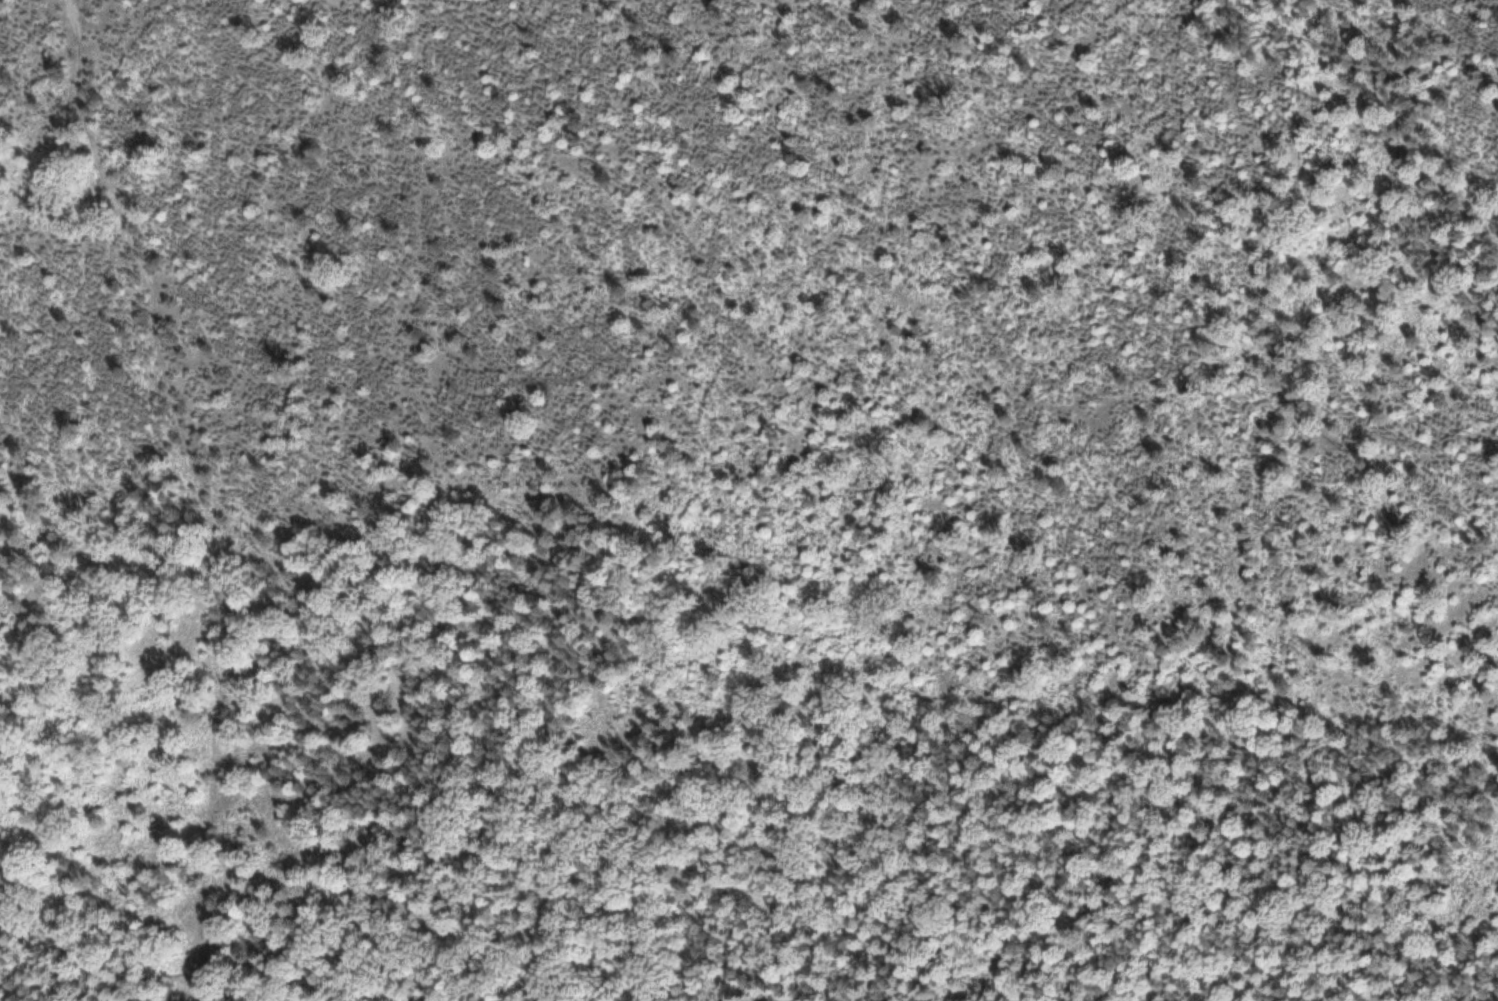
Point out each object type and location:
road: (1398, 105)
road: (198, 482)
road: (89, 961)
road: (1287, 964)
road: (228, 988)

